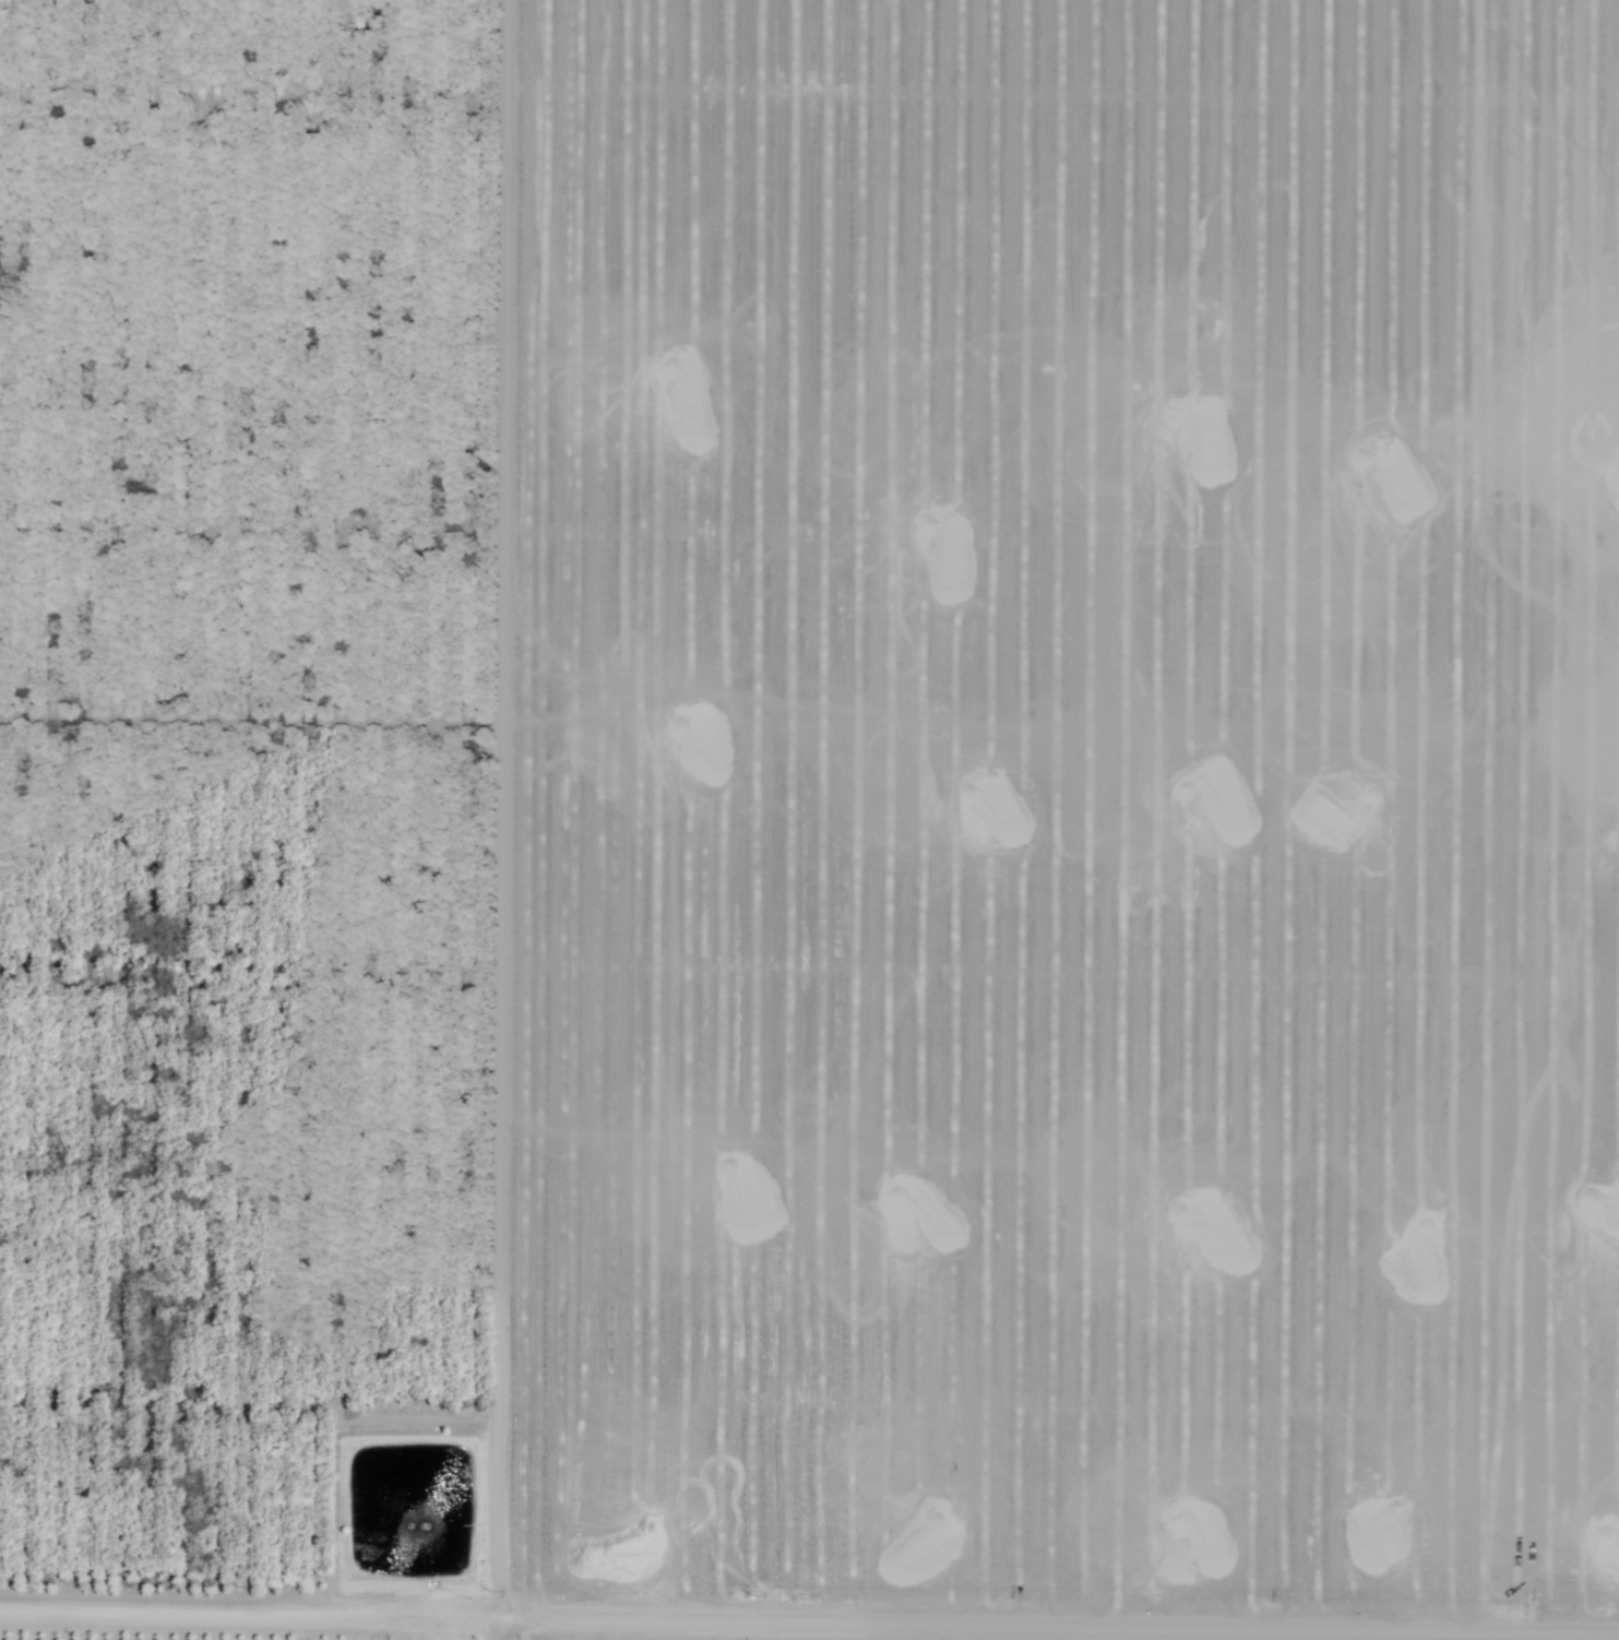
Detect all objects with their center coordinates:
crop: (279, 794)
road: (548, 819)
road: (809, 1566)

